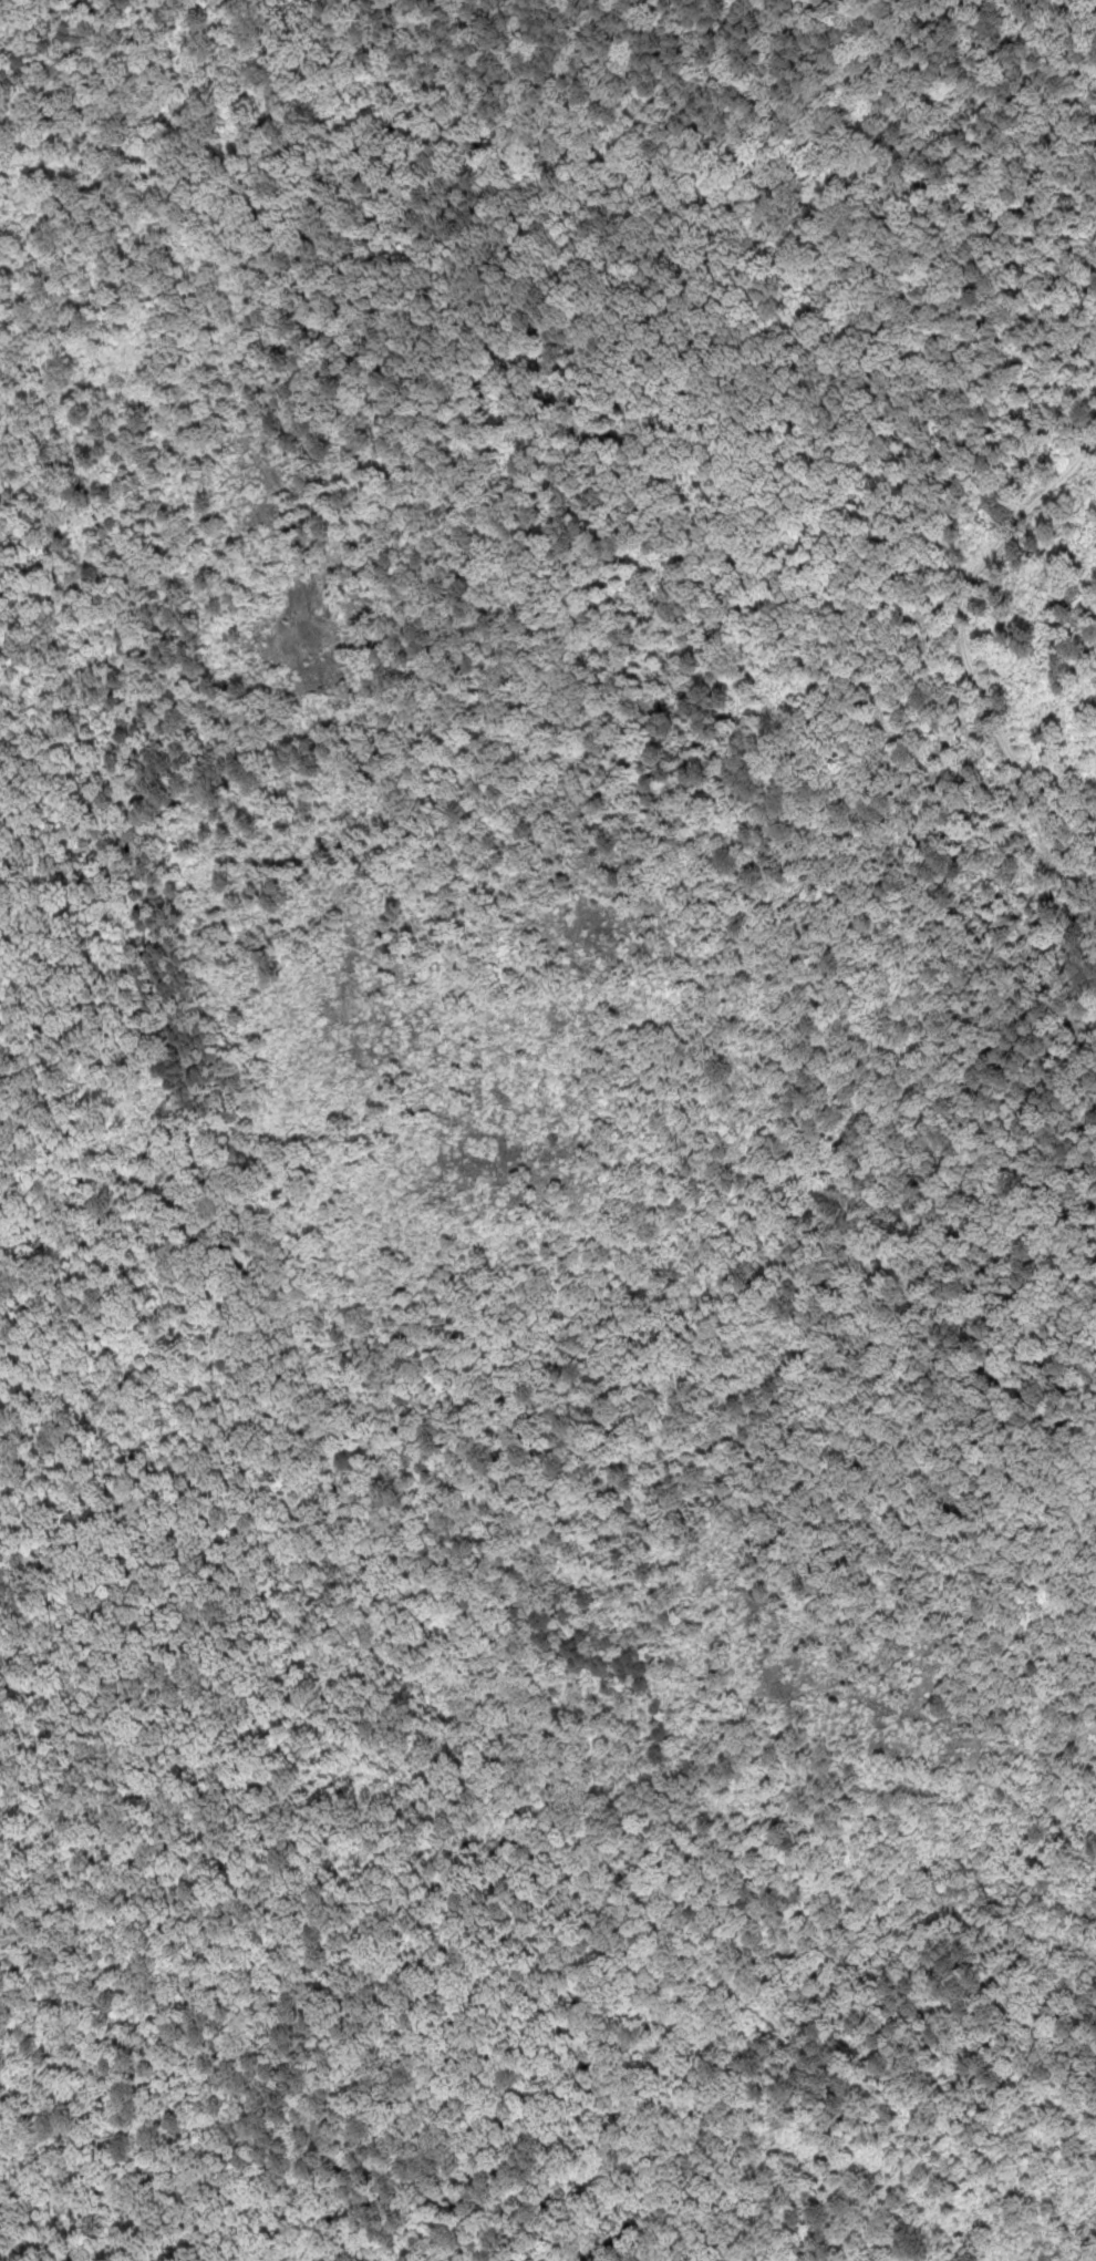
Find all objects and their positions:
road: (949, 619)

